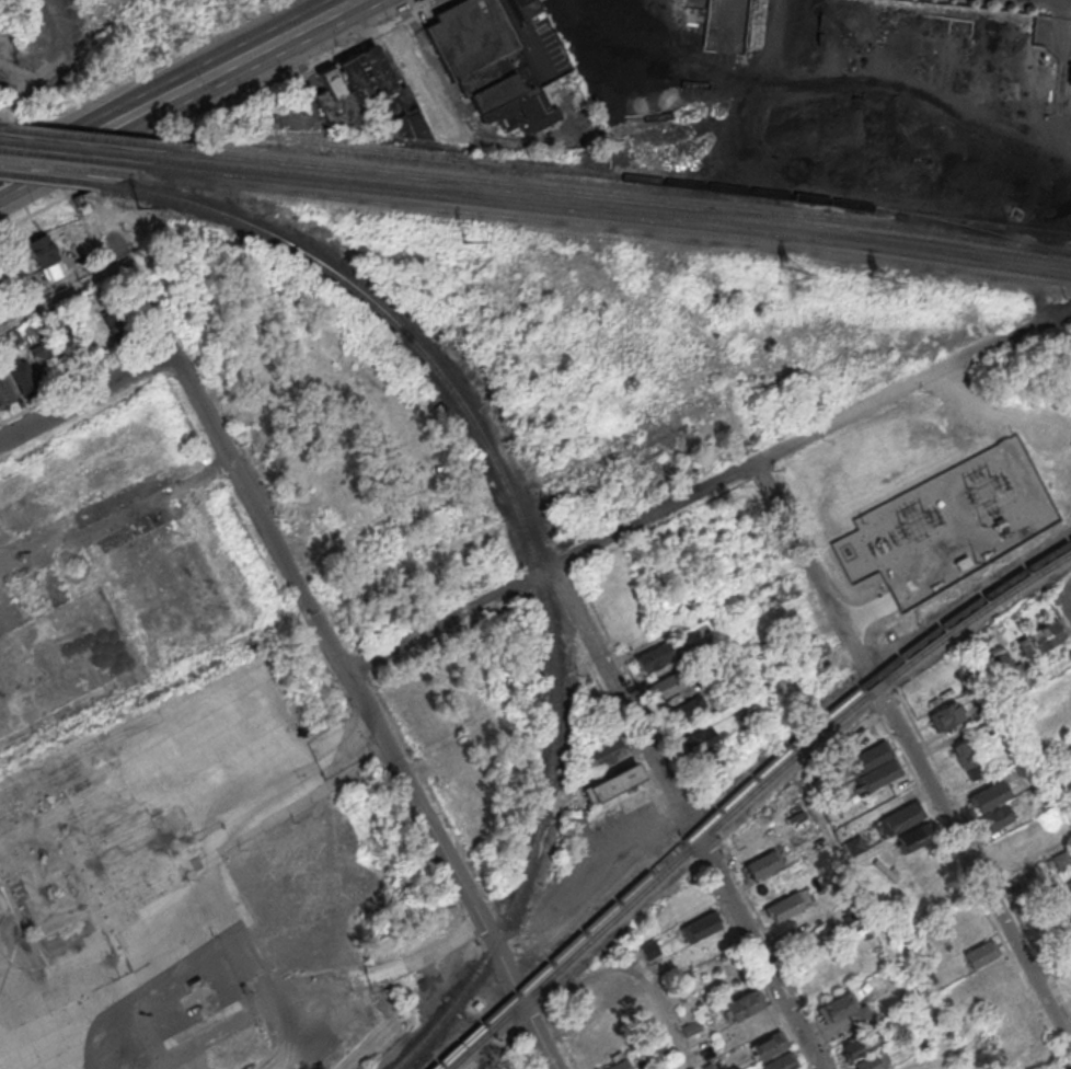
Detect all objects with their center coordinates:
road: (352, 4)
road: (1067, 9)
building: (726, 26)
building: (539, 36)
road: (1064, 41)
road: (270, 49)
building: (492, 67)
building: (1069, 76)
road: (1060, 88)
building: (394, 96)
building: (338, 102)
road: (870, 122)
road: (1056, 136)
railway: (89, 138)
road: (99, 141)
railway: (81, 148)
railway: (72, 158)
railway: (54, 179)
railway: (663, 183)
railway: (625, 196)
power tower: (137, 206)
railway: (617, 206)
railway: (608, 216)
road: (33, 219)
railway: (984, 232)
power tower: (463, 241)
building: (42, 250)
power tower: (787, 275)
power tower: (877, 286)
building: (0, 288)
road: (62, 295)
building: (55, 317)
building: (114, 323)
building: (15, 336)
building: (71, 352)
building: (47, 365)
building: (23, 378)
building: (5, 392)
road: (87, 396)
road: (979, 401)
road: (794, 445)
road: (1009, 517)
power substation: (951, 522)
railway: (526, 538)
road: (923, 581)
road: (1066, 584)
road: (300, 589)
road: (1066, 597)
road: (706, 610)
road: (870, 610)
building: (1045, 636)
building: (703, 644)
building: (654, 656)
road: (736, 662)
building: (1007, 673)
building: (665, 686)
road: (626, 704)
building: (686, 709)
building: (746, 715)
building: (945, 715)
building: (696, 739)
building: (847, 740)
building: (601, 750)
road: (913, 756)
building: (870, 757)
building: (968, 759)
building: (1023, 766)
building: (879, 774)
building: (1062, 778)
building: (612, 782)
railway: (739, 790)
railway: (748, 796)
building: (987, 796)
building: (899, 818)
building: (997, 818)
building: (914, 838)
building: (854, 844)
road: (1026, 858)
building: (1061, 860)
building: (762, 863)
road: (586, 878)
building: (1069, 886)
building: (784, 907)
building: (1057, 909)
building: (699, 927)
road: (238, 929)
building: (648, 947)
road: (760, 954)
building: (978, 954)
road: (1051, 964)
road: (633, 970)
building: (991, 976)
building: (742, 1004)
building: (834, 1005)
road: (525, 1007)
building: (859, 1015)
building: (690, 1026)
building: (1023, 1031)
building: (919, 1041)
building: (767, 1044)
building: (860, 1044)
building: (659, 1051)
park: (514, 1059)
building: (780, 1061)
building: (870, 1061)
building: (617, 1065)
building: (706, 1066)

